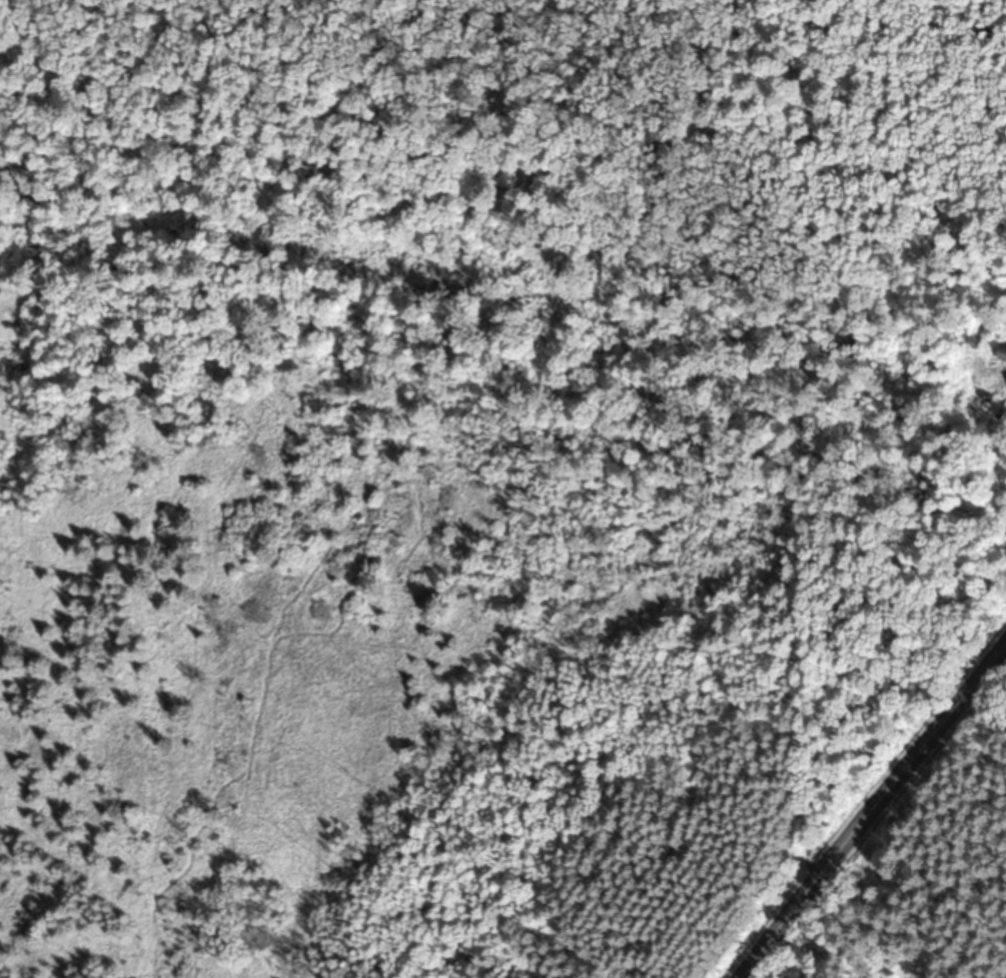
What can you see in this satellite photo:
building: (1003, 353)
road: (869, 806)

